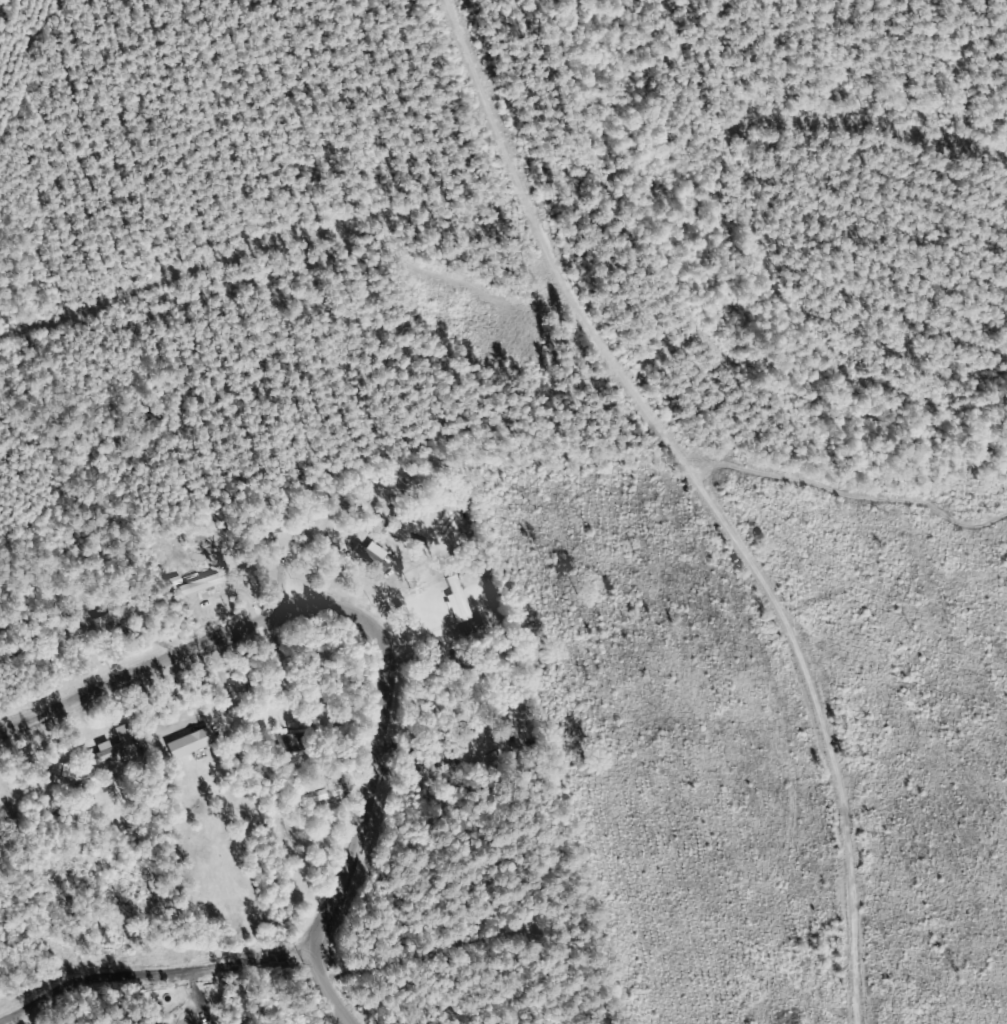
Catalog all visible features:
building: (399, 533)
building: (375, 556)
building: (459, 601)
building: (475, 627)
road: (339, 644)
building: (191, 744)
building: (119, 747)
building: (58, 770)
road: (157, 964)
road: (336, 996)

